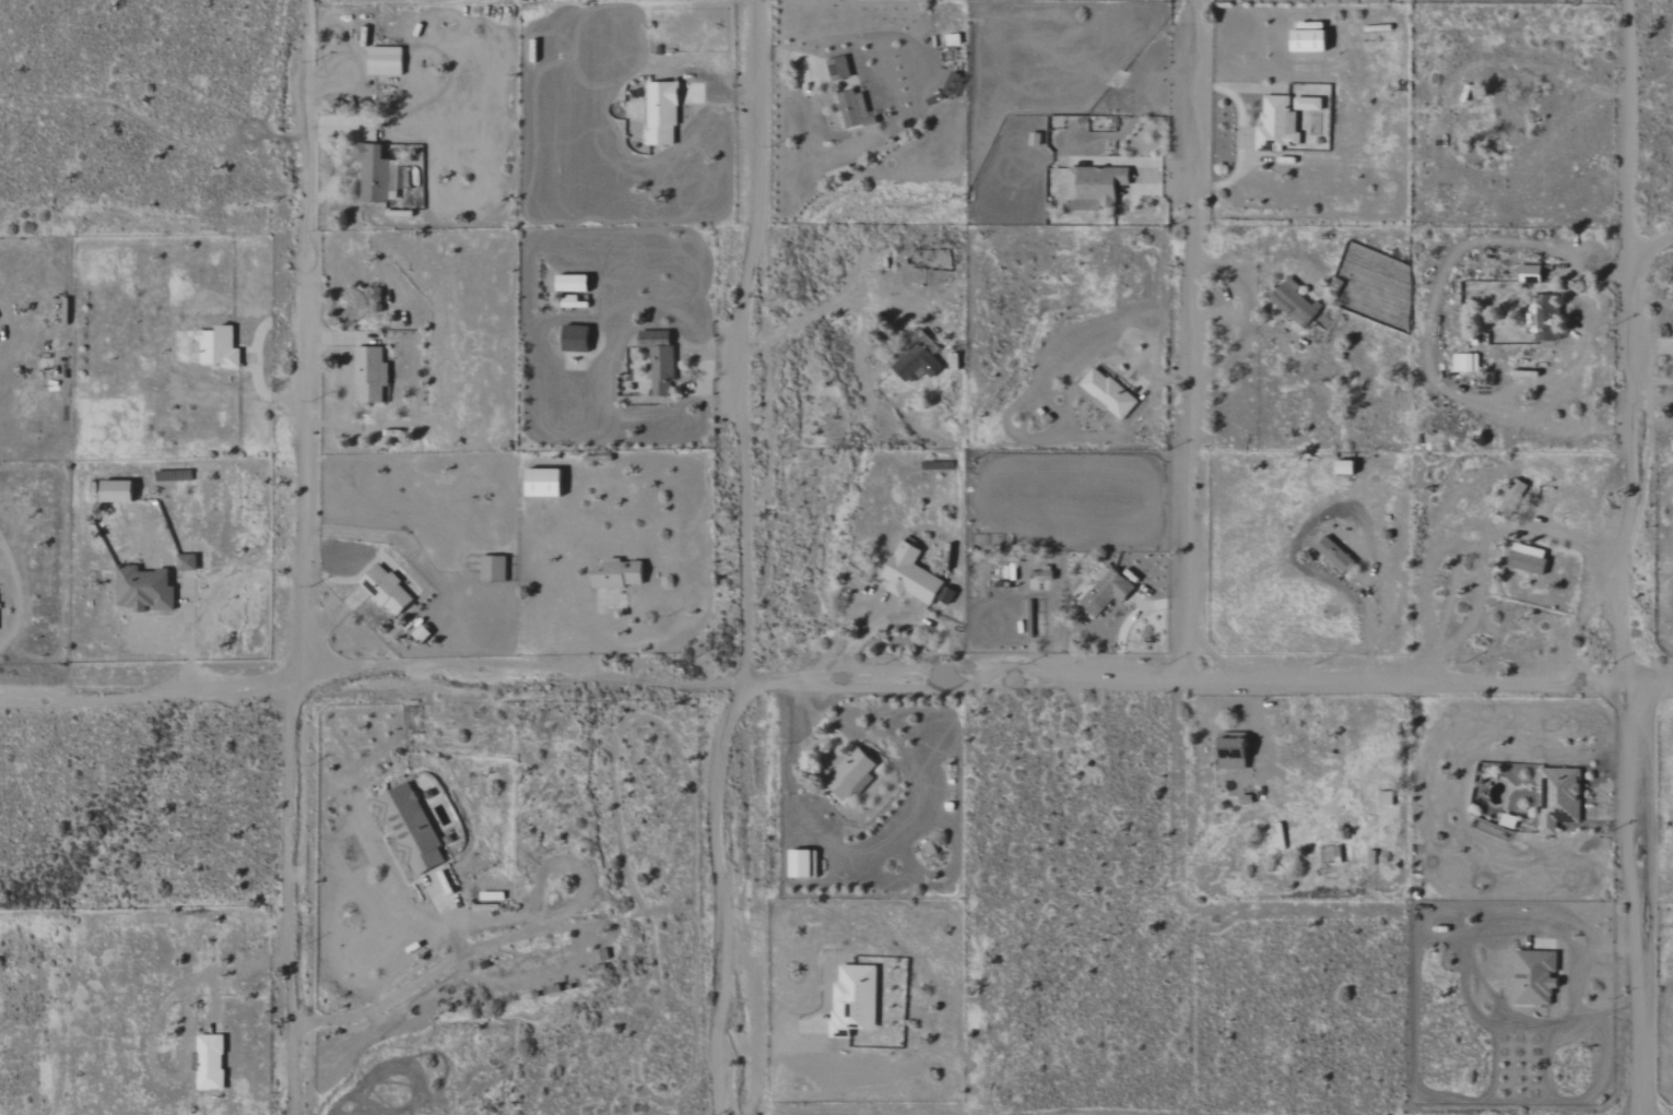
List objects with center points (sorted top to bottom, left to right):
building: (386, 61)
road: (1544, 66)
building: (838, 69)
building: (1308, 104)
building: (853, 108)
building: (661, 115)
building: (1277, 124)
road: (1239, 139)
building: (373, 173)
building: (1096, 188)
road: (1652, 252)
building: (1530, 274)
building: (573, 283)
building: (1294, 303)
road: (820, 310)
building: (1543, 317)
road: (1428, 325)
building: (576, 339)
road: (1188, 339)
road: (744, 341)
building: (219, 347)
road: (255, 359)
building: (918, 359)
building: (659, 361)
building: (1466, 363)
building: (370, 375)
building: (1109, 394)
building: (1346, 467)
building: (544, 484)
building: (117, 491)
building: (1513, 498)
road: (1478, 543)
building: (1335, 556)
road: (306, 557)
road: (1631, 557)
building: (187, 562)
building: (494, 569)
building: (620, 576)
building: (911, 577)
building: (144, 590)
building: (1107, 591)
road: (1358, 614)
road: (898, 616)
road: (1577, 619)
road: (189, 636)
road: (1209, 679)
road: (373, 680)
building: (1234, 752)
building: (850, 772)
building: (1387, 797)
building: (1559, 798)
building: (411, 829)
building: (801, 863)
road: (718, 895)
building: (1535, 977)
road: (408, 986)
building: (855, 999)
road: (182, 1033)
road: (776, 1051)
building: (211, 1063)

